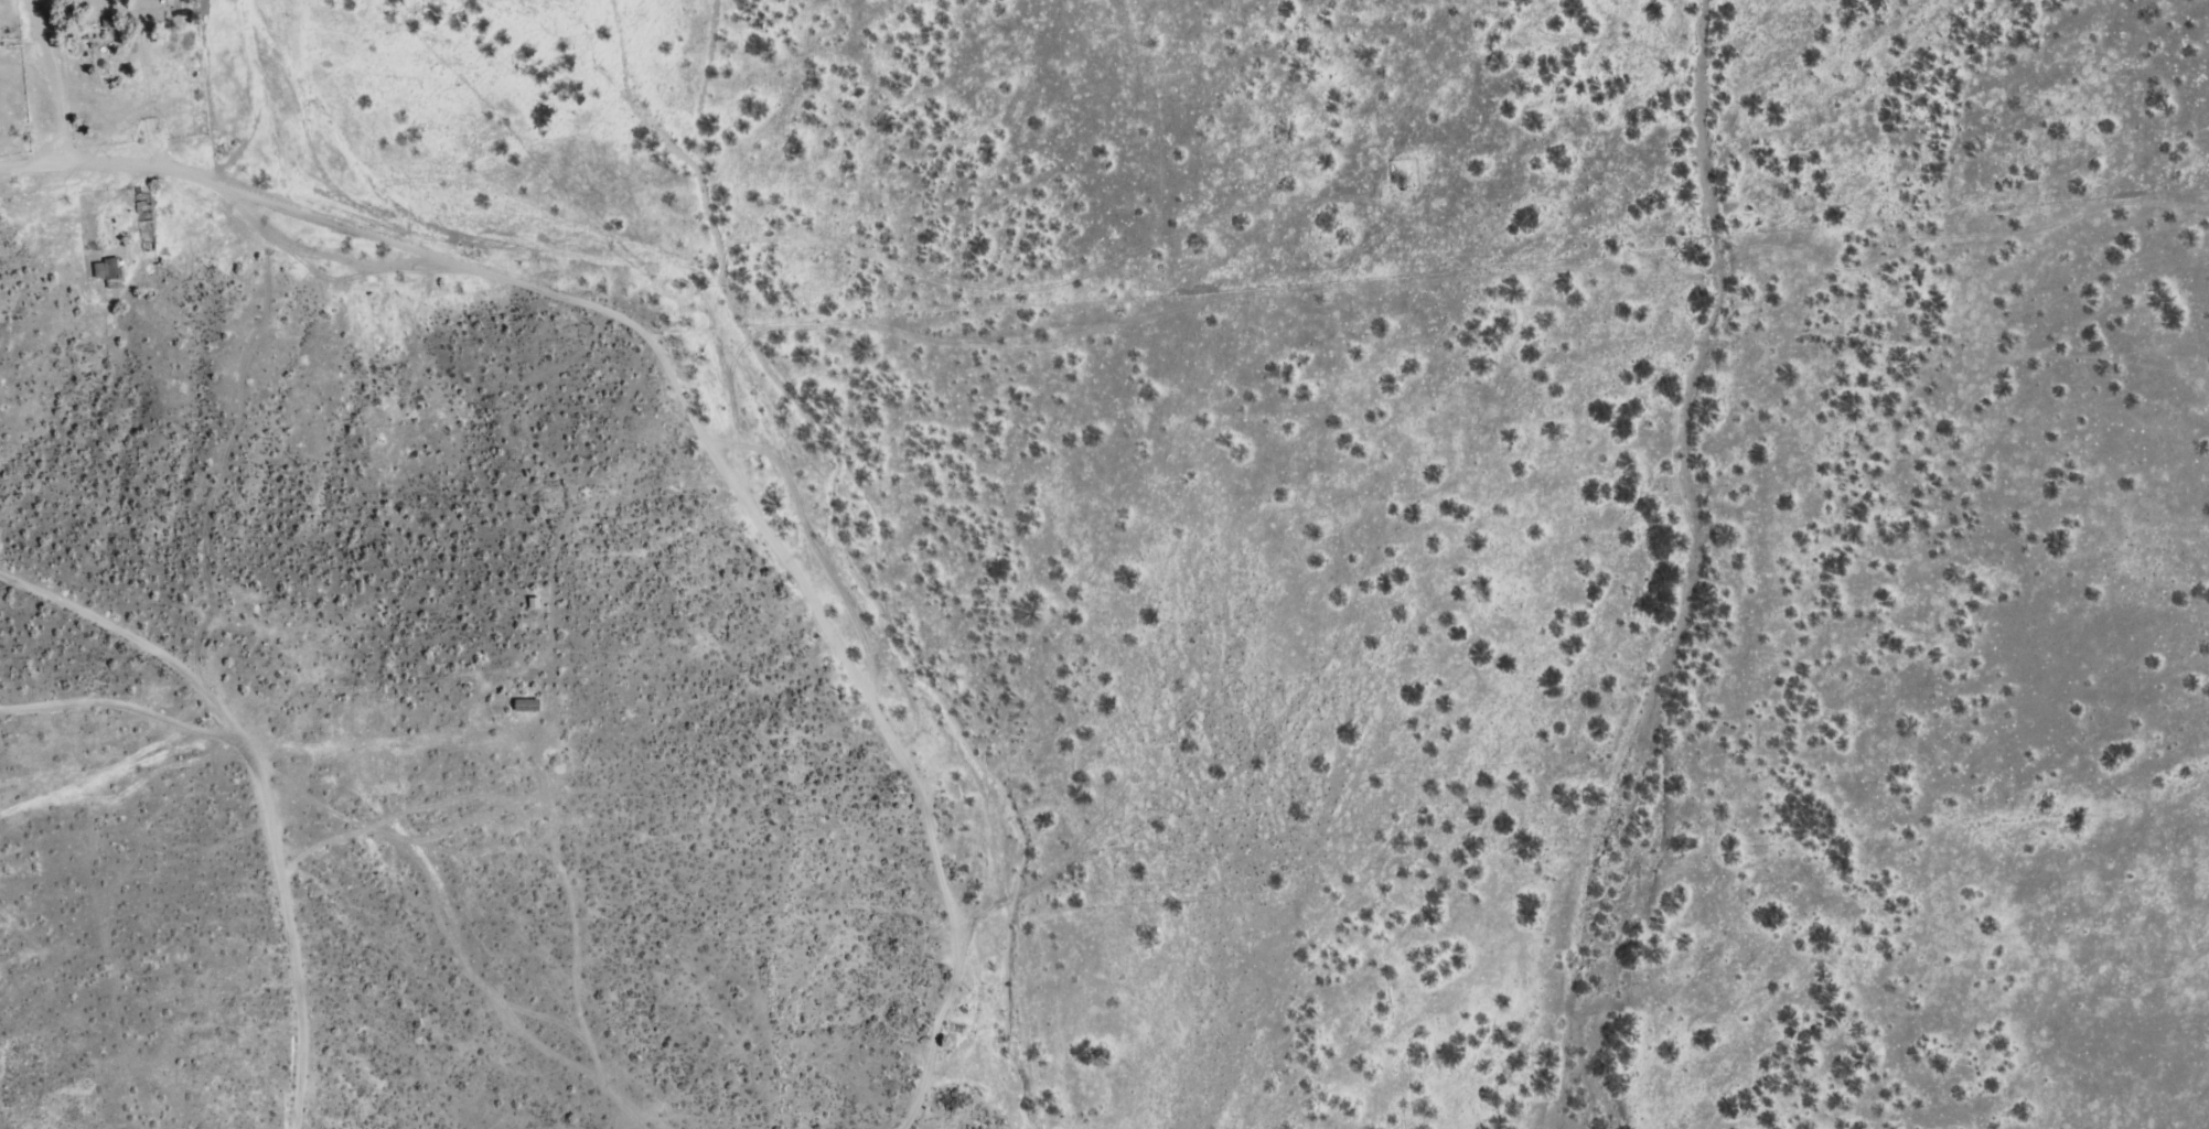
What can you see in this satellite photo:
road: (51, 79)
road: (41, 143)
road: (29, 164)
building: (108, 269)
road: (711, 451)
road: (128, 646)
building: (528, 705)
road: (117, 712)
road: (285, 934)

